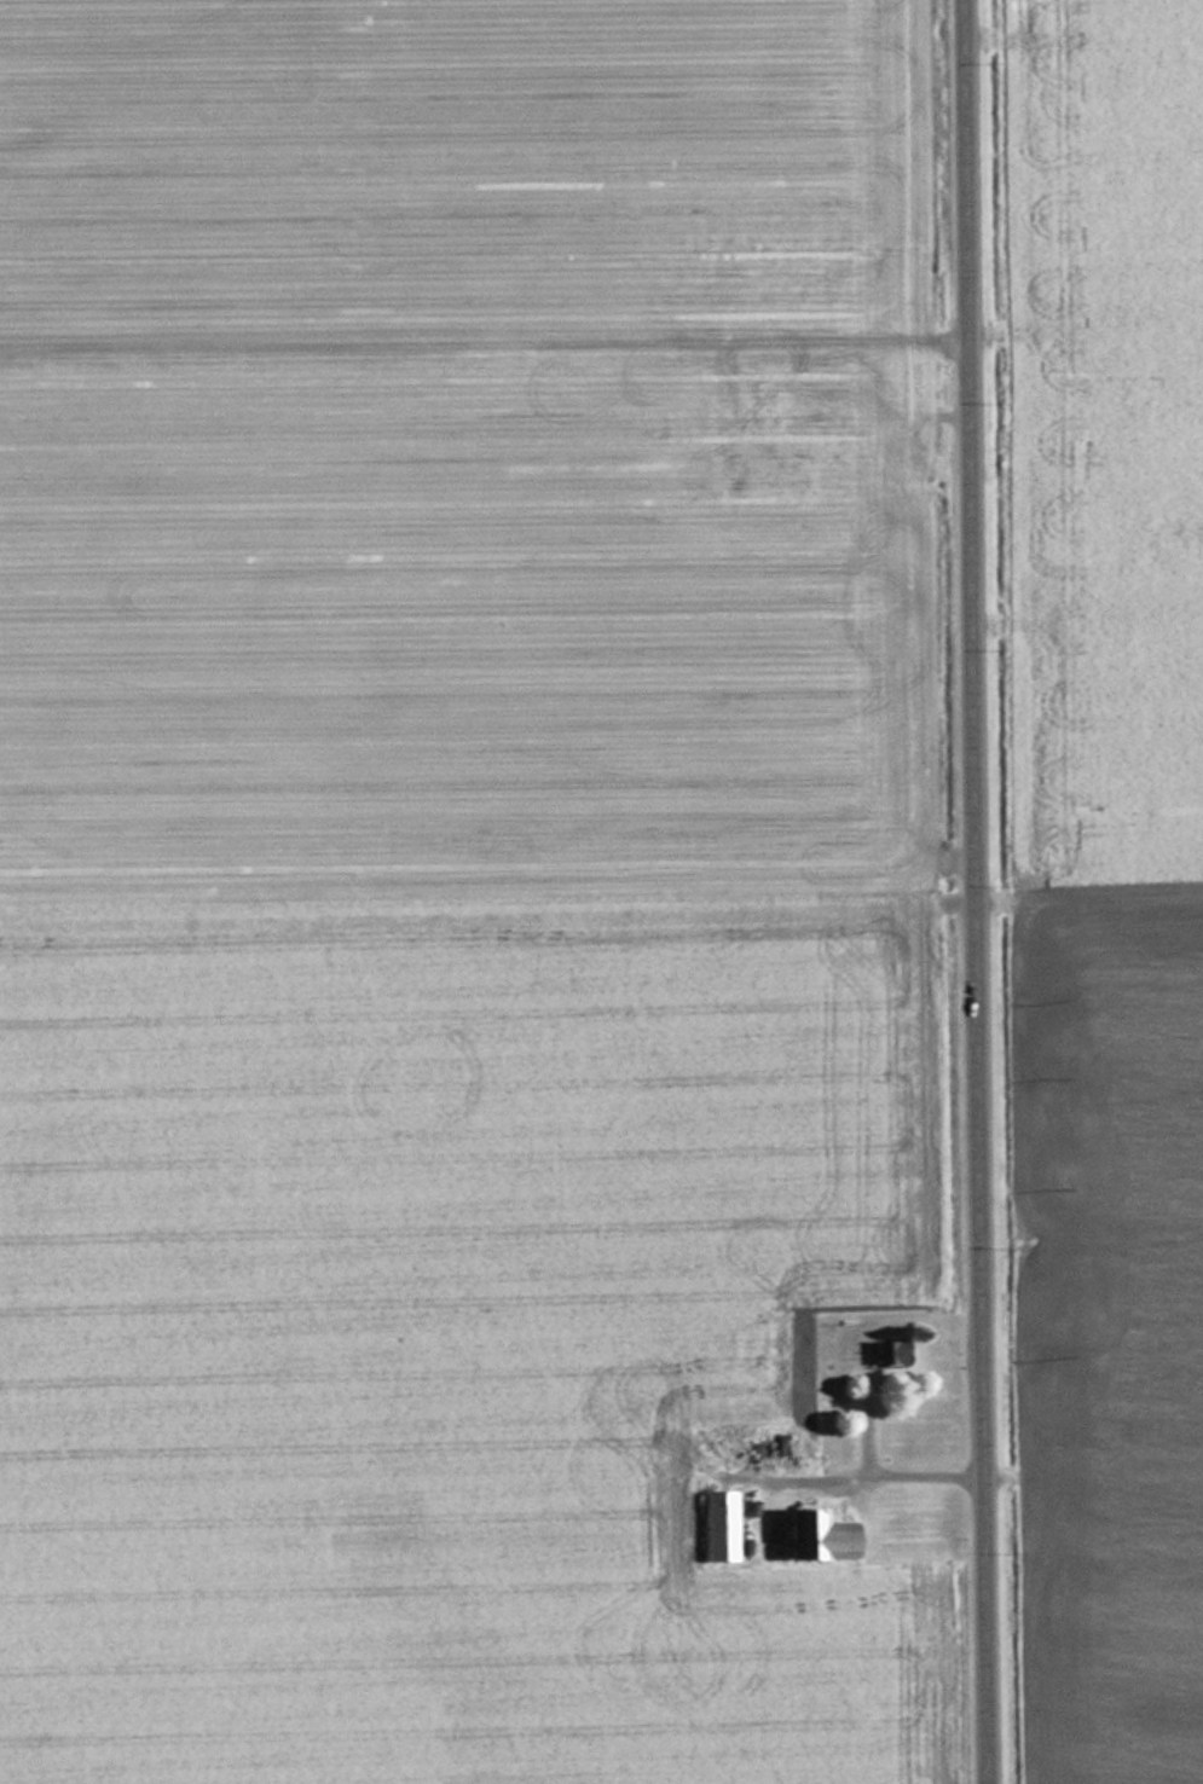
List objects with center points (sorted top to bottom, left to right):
building: (846, 394)
building: (846, 452)
building: (740, 461)
road: (972, 892)
building: (886, 1351)
building: (768, 1448)
building: (721, 1524)
building: (816, 1535)

